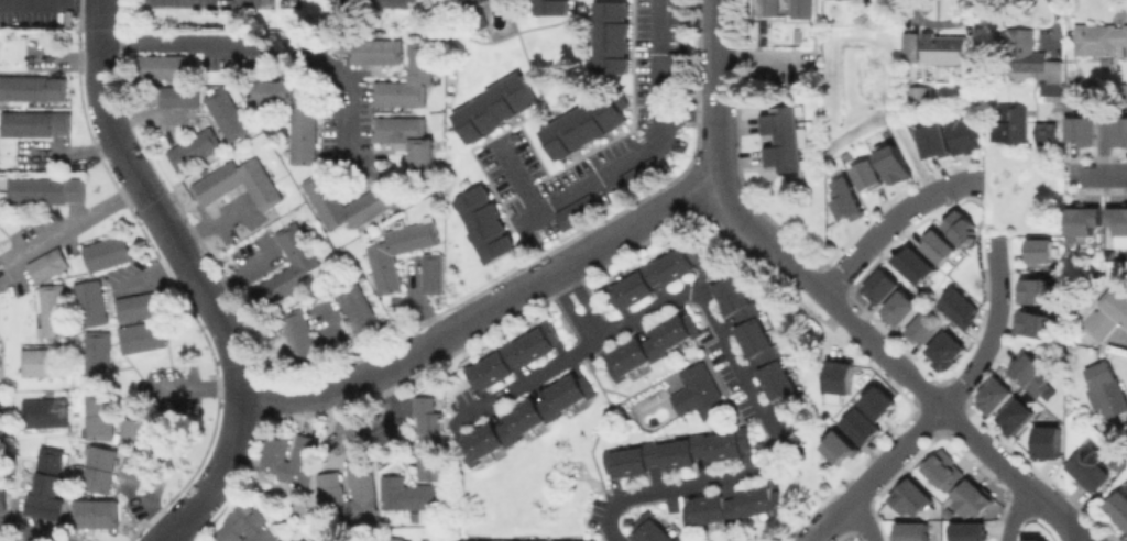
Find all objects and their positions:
road: (34, 0)
building: (473, 2)
building: (552, 7)
building: (768, 9)
building: (802, 9)
building: (674, 11)
building: (611, 36)
building: (1101, 38)
road: (258, 45)
building: (909, 46)
building: (947, 48)
road: (655, 49)
building: (374, 51)
building: (1018, 52)
building: (420, 60)
building: (671, 64)
building: (164, 67)
building: (1054, 86)
building: (32, 88)
building: (1124, 90)
road: (716, 91)
building: (177, 96)
building: (919, 97)
building: (492, 108)
building: (226, 113)
building: (291, 114)
building: (34, 122)
building: (1011, 124)
building: (581, 126)
building: (1081, 134)
building: (963, 135)
building: (1120, 136)
building: (1048, 137)
building: (783, 139)
building: (406, 140)
building: (933, 140)
building: (193, 148)
building: (895, 167)
road: (602, 168)
road: (1101, 174)
building: (868, 177)
building: (241, 181)
building: (43, 188)
building: (320, 194)
building: (844, 199)
road: (891, 221)
road: (68, 222)
building: (1081, 222)
building: (484, 223)
building: (1118, 223)
building: (960, 227)
building: (295, 249)
building: (939, 249)
building: (396, 252)
building: (106, 253)
building: (1040, 253)
building: (46, 265)
building: (912, 265)
building: (430, 273)
road: (196, 275)
building: (655, 275)
building: (879, 286)
building: (1036, 290)
building: (89, 302)
road: (578, 305)
building: (134, 306)
building: (959, 307)
building: (899, 308)
building: (51, 310)
building: (358, 310)
road: (484, 312)
building: (1109, 314)
building: (1033, 323)
building: (926, 328)
building: (298, 331)
building: (756, 334)
building: (140, 336)
building: (654, 344)
road: (731, 350)
building: (944, 350)
building: (96, 356)
building: (515, 356)
building: (42, 362)
road: (894, 364)
building: (1031, 374)
building: (840, 377)
building: (1106, 388)
building: (700, 393)
building: (992, 396)
road: (197, 398)
building: (878, 402)
road: (934, 407)
building: (43, 411)
building: (1014, 416)
building: (97, 417)
building: (527, 417)
building: (860, 426)
building: (138, 434)
building: (426, 439)
building: (1046, 442)
building: (839, 446)
building: (678, 452)
building: (276, 459)
building: (135, 467)
building: (97, 468)
building: (941, 470)
building: (1090, 470)
building: (45, 483)
building: (332, 492)
building: (404, 494)
building: (910, 498)
building: (3, 499)
building: (974, 500)
building: (734, 506)
building: (1119, 506)
building: (94, 512)
road: (1013, 512)
road: (861, 518)
building: (248, 526)
building: (654, 529)
road: (32, 531)
building: (910, 531)
building: (966, 531)
road: (171, 539)
building: (299, 539)
building: (396, 539)
building: (457, 539)
building: (547, 539)
building: (305, 540)
building: (484, 540)
building: (501, 540)
building: (592, 540)
building: (1032, 540)

